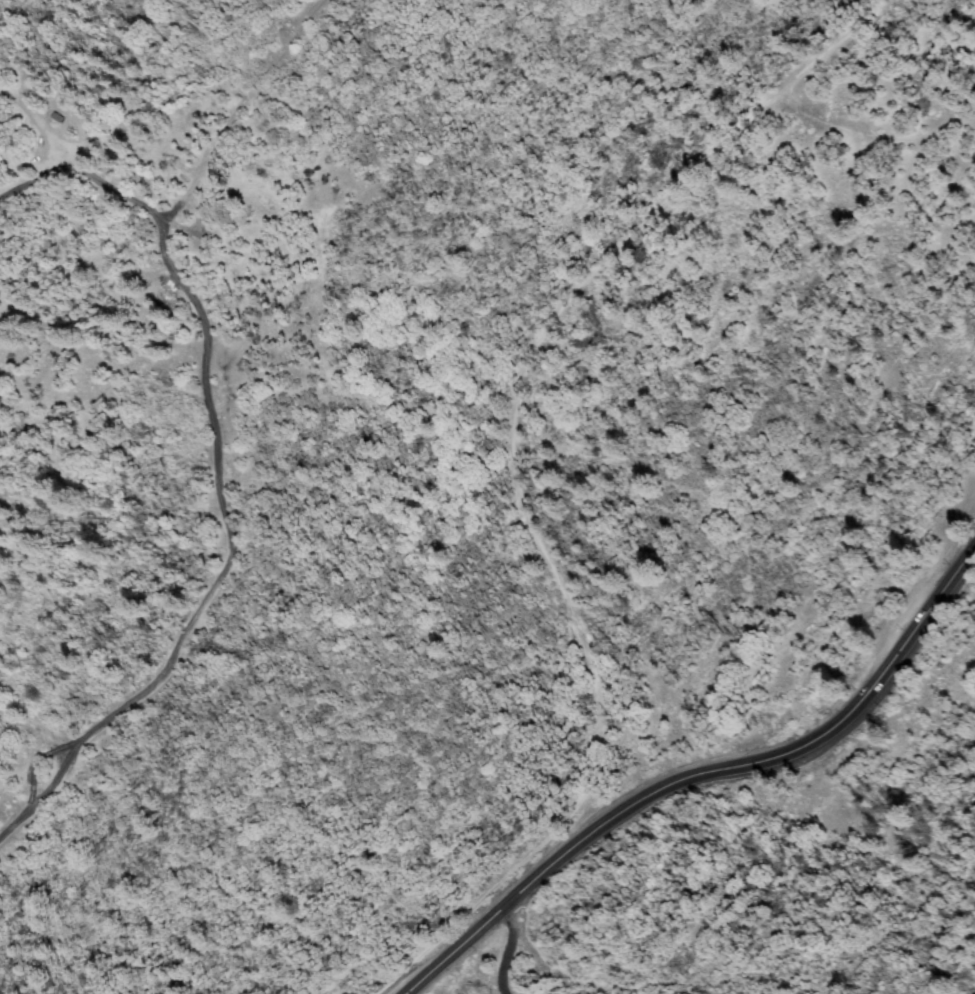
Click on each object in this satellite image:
road: (204, 413)
road: (701, 775)
road: (508, 946)

